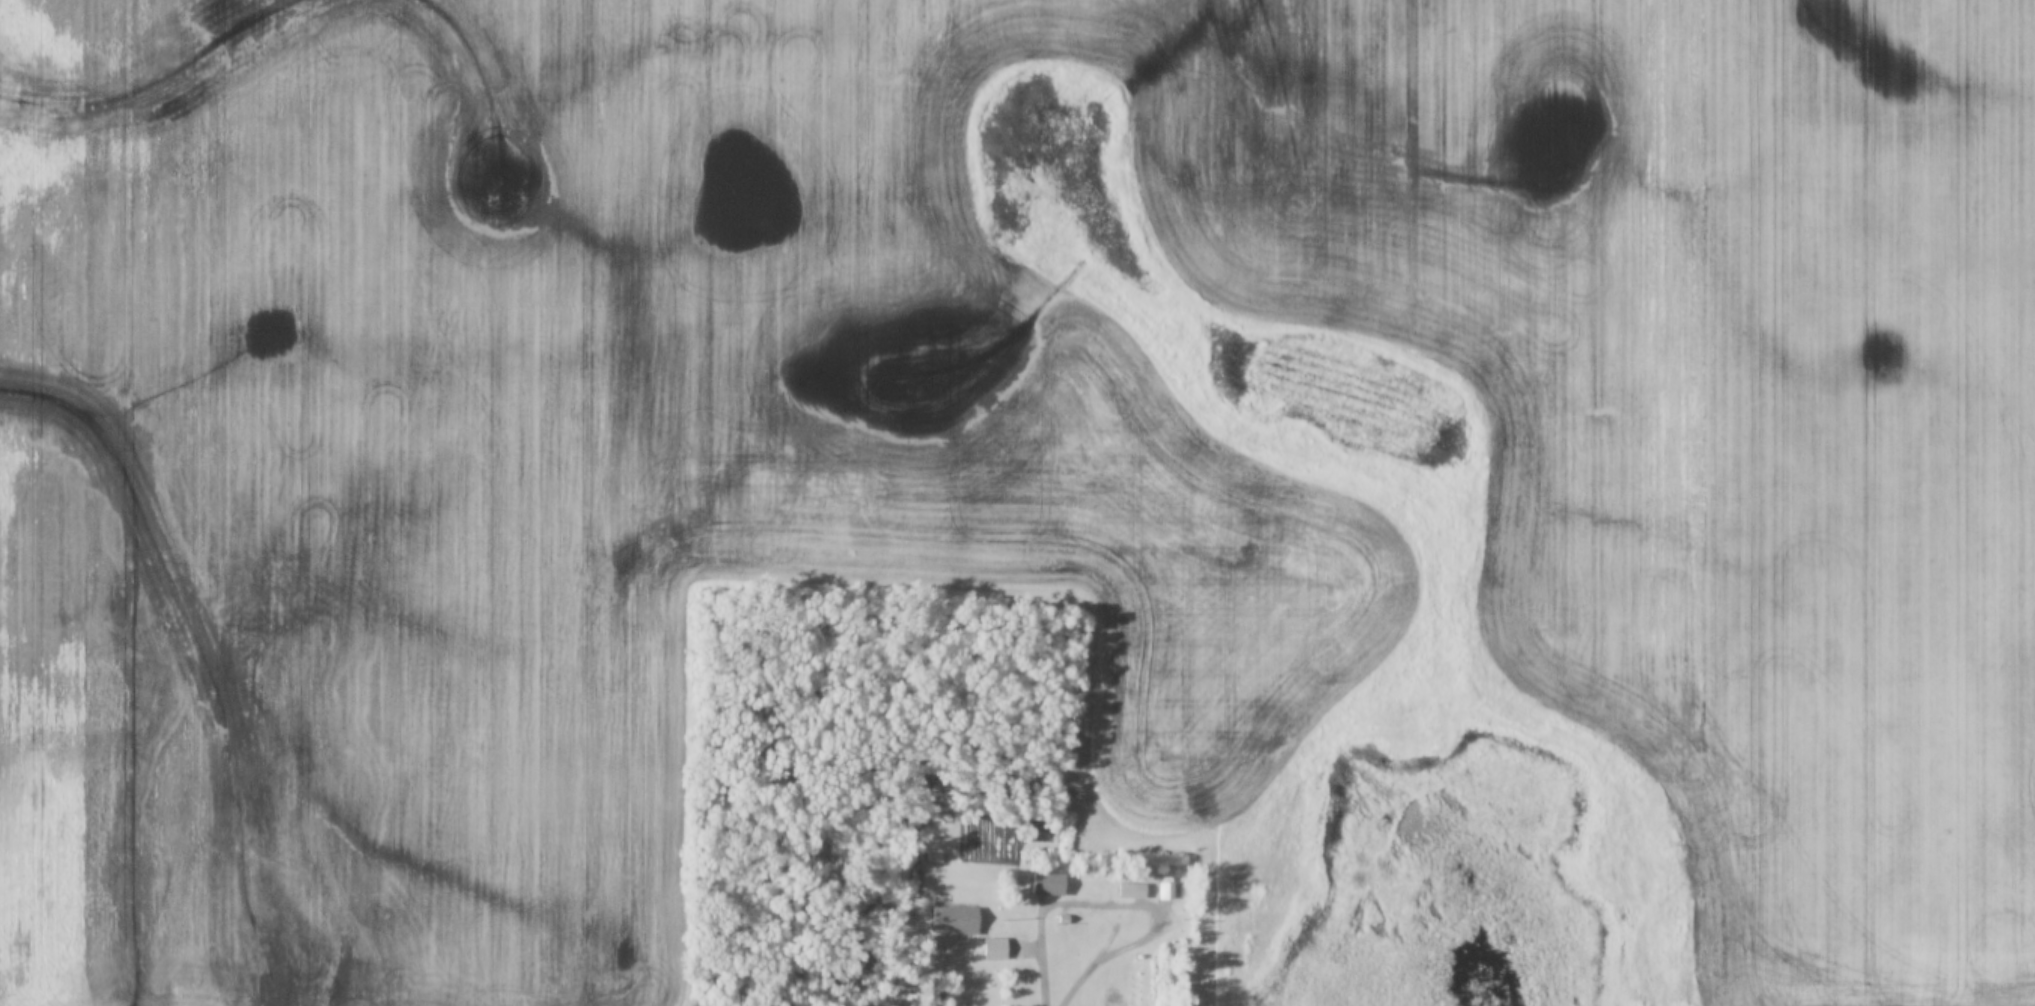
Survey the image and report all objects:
building: (1133, 889)
building: (1168, 890)
road: (1043, 914)
road: (1167, 914)
building: (958, 916)
building: (996, 947)
road: (1078, 983)

